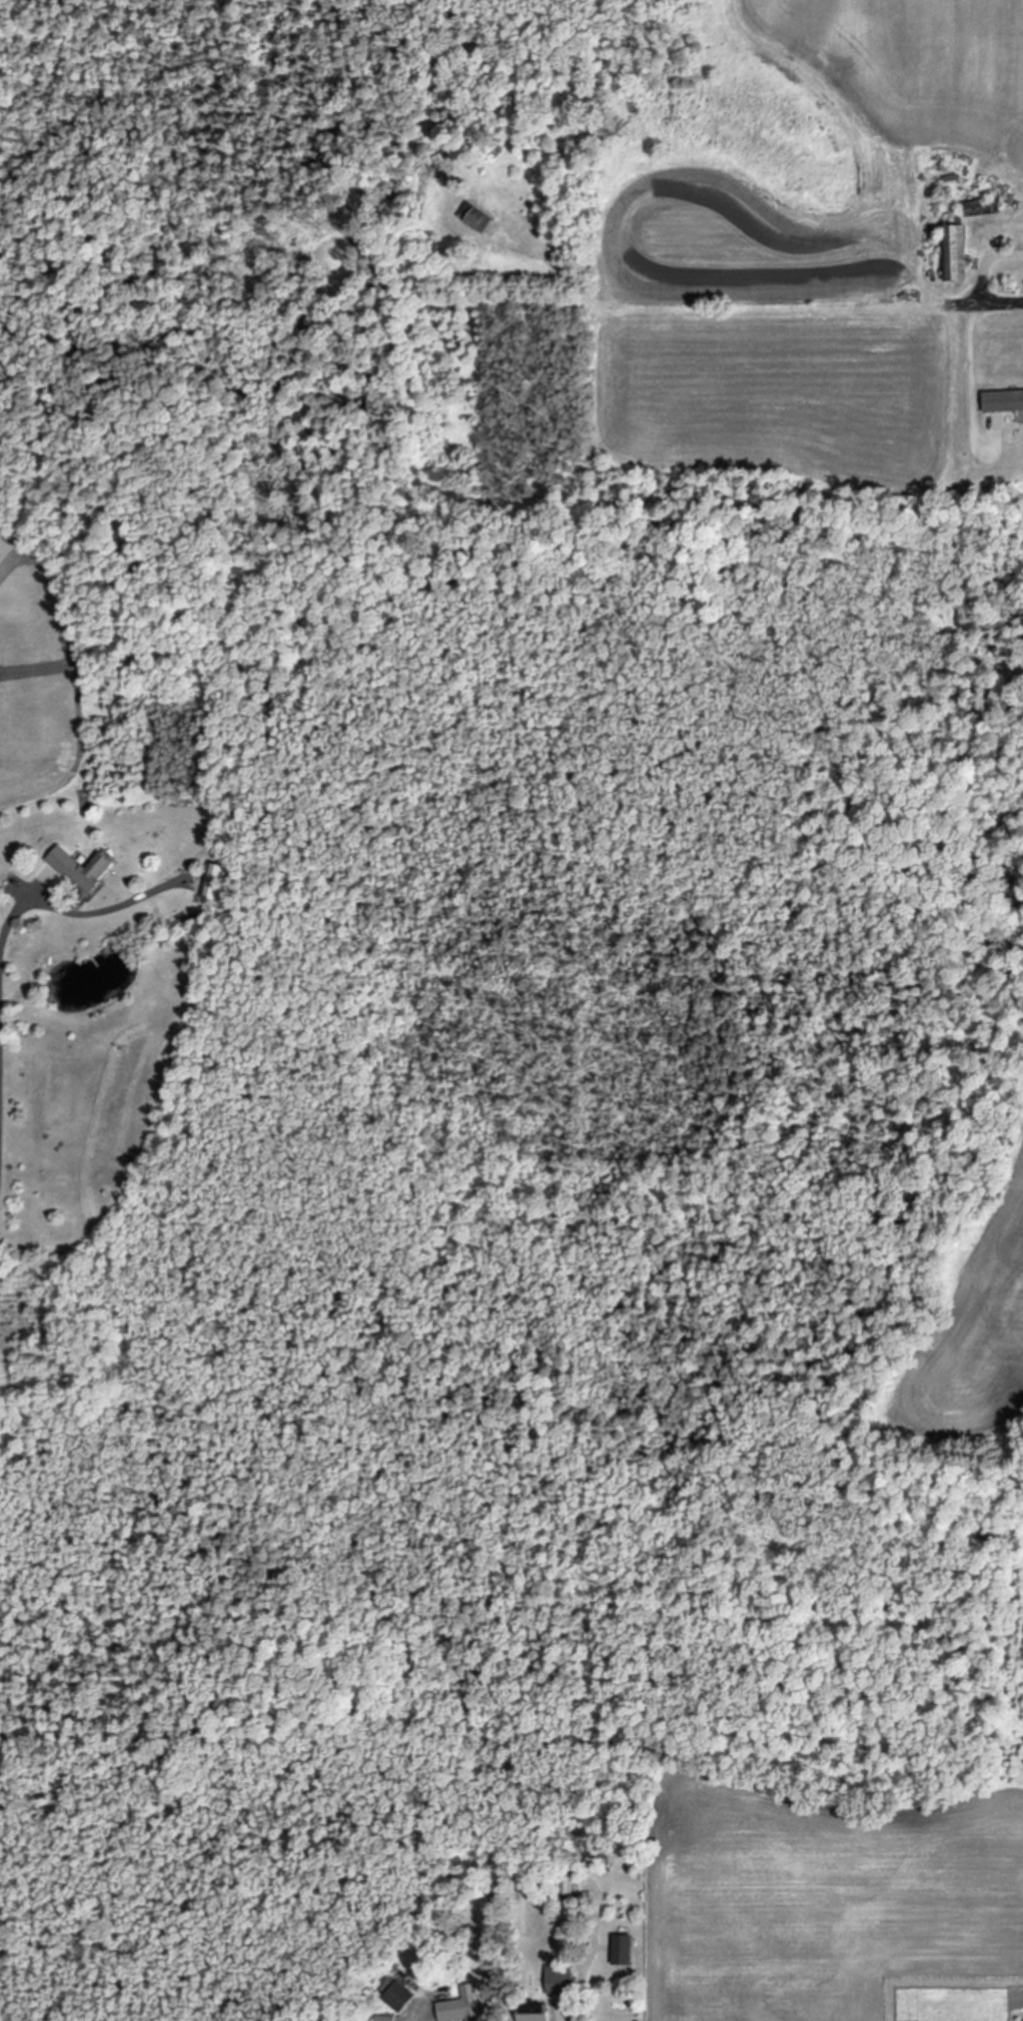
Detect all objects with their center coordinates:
building: (970, 208)
building: (474, 219)
building: (951, 253)
road: (983, 299)
road: (972, 350)
building: (1000, 401)
building: (85, 869)
building: (215, 883)
road: (1, 956)
building: (562, 1878)
building: (618, 1950)
building: (555, 1979)
building: (395, 1996)
building: (456, 2007)
building: (529, 2012)
road: (565, 2017)
building: (382, 2018)
road: (415, 2020)

